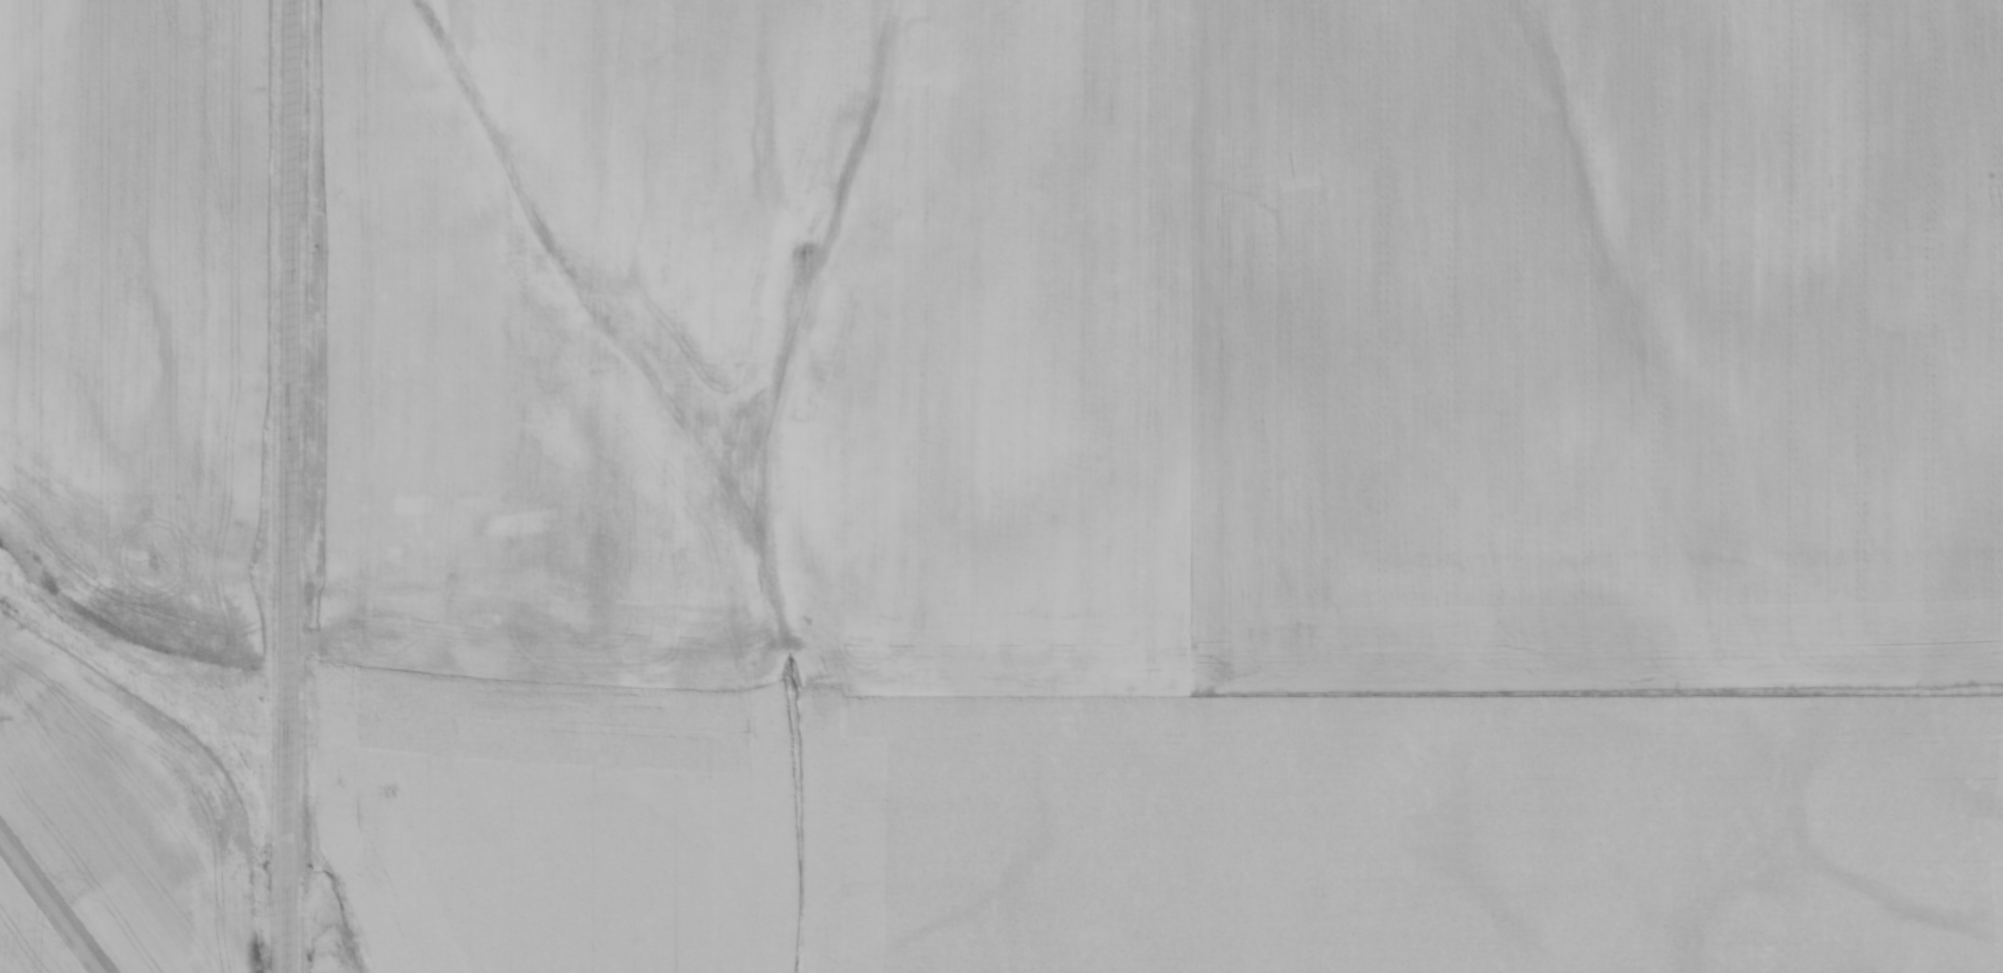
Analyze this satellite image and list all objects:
crop: (768, 322)
road: (289, 486)
crop: (1597, 836)
road: (49, 907)

